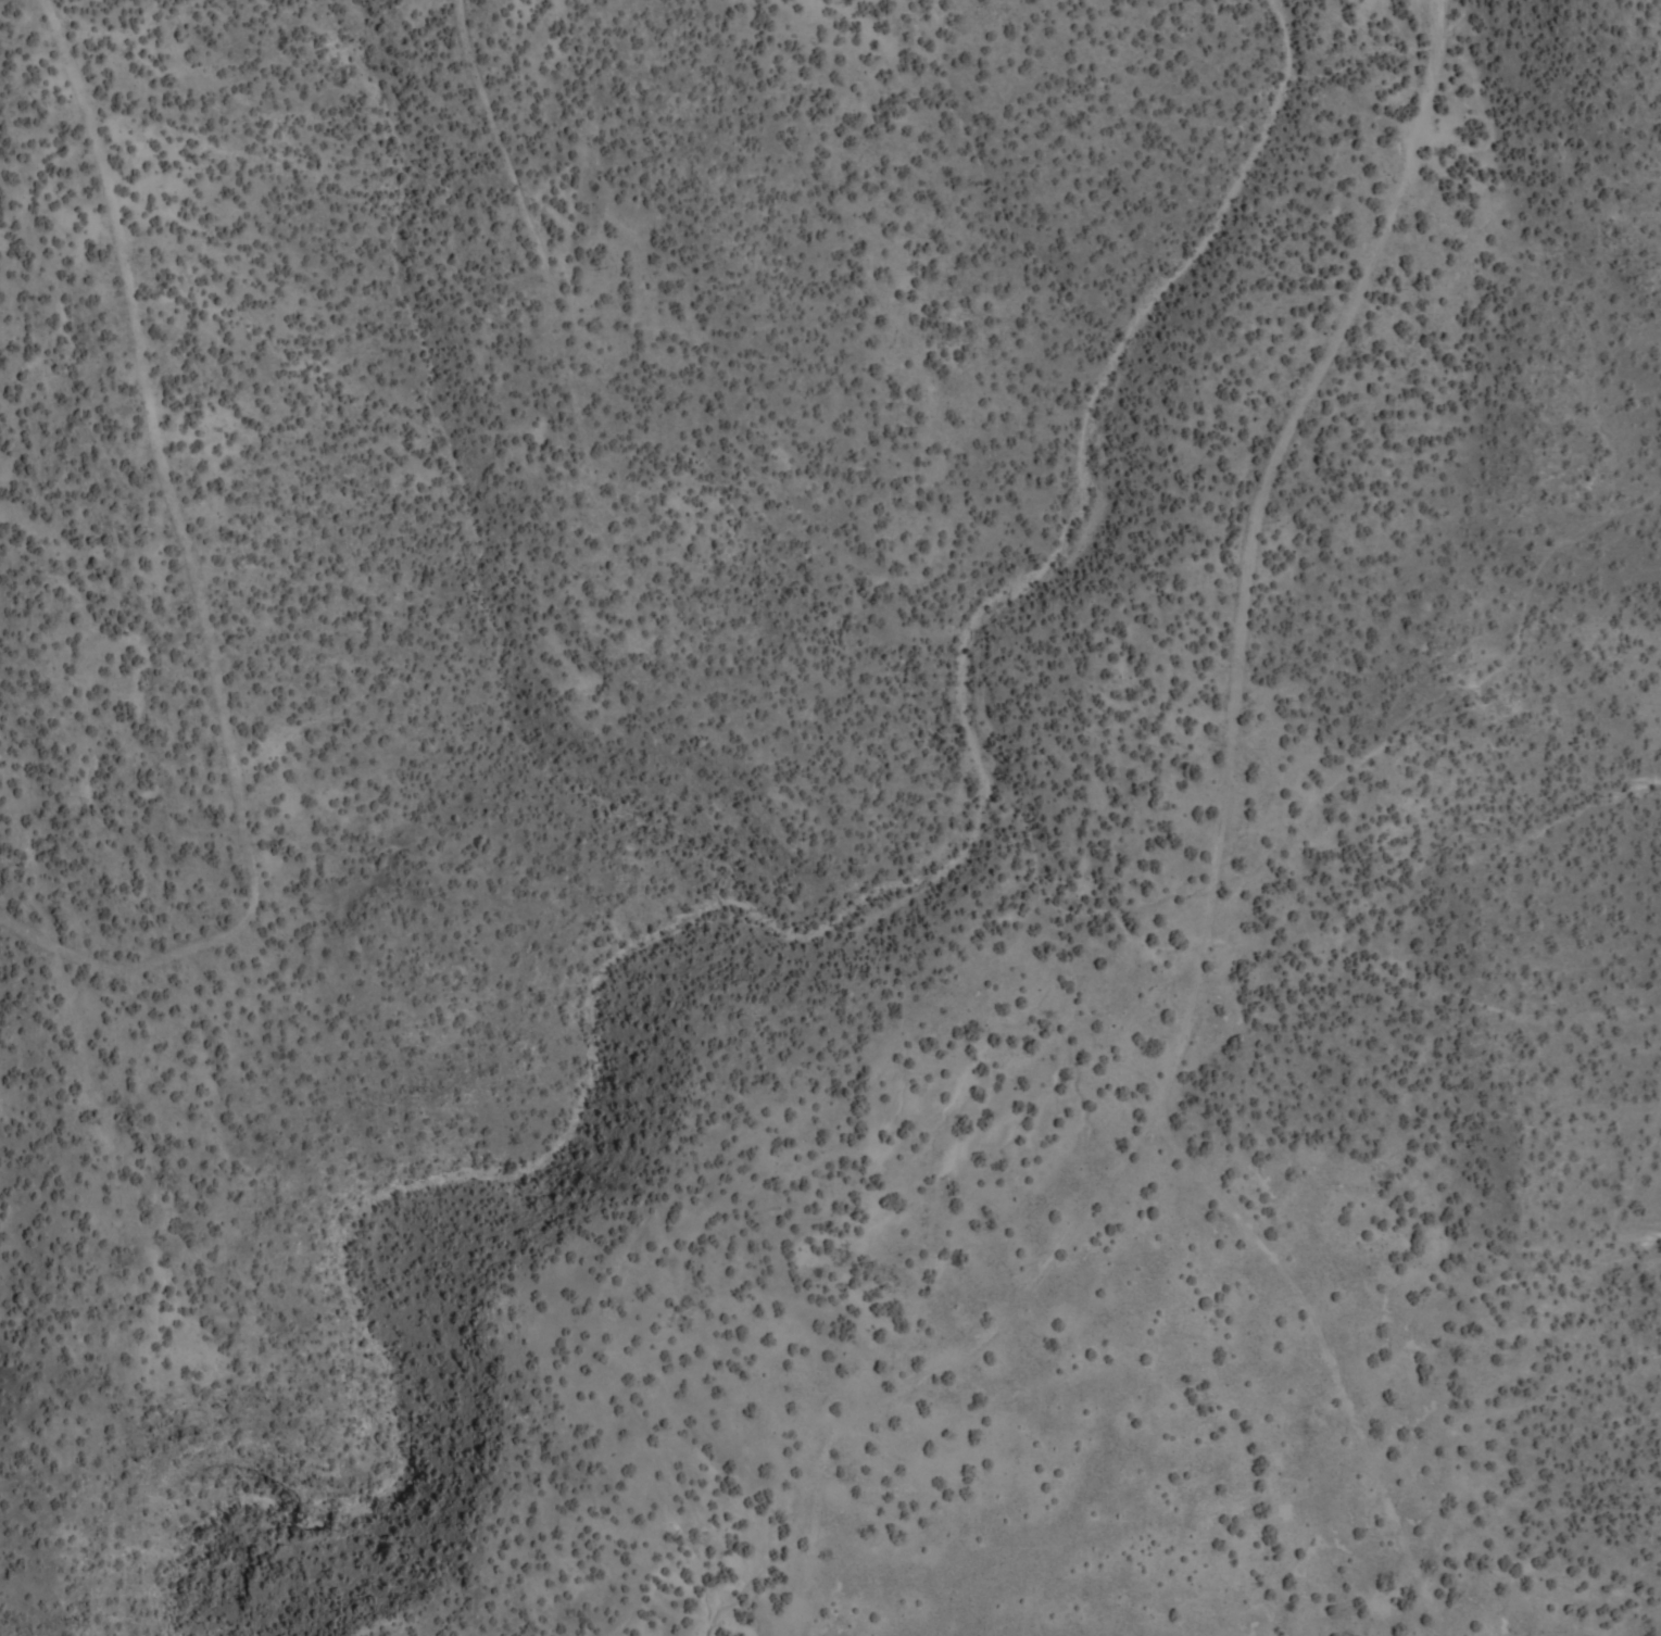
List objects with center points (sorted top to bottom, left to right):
road: (1232, 834)

